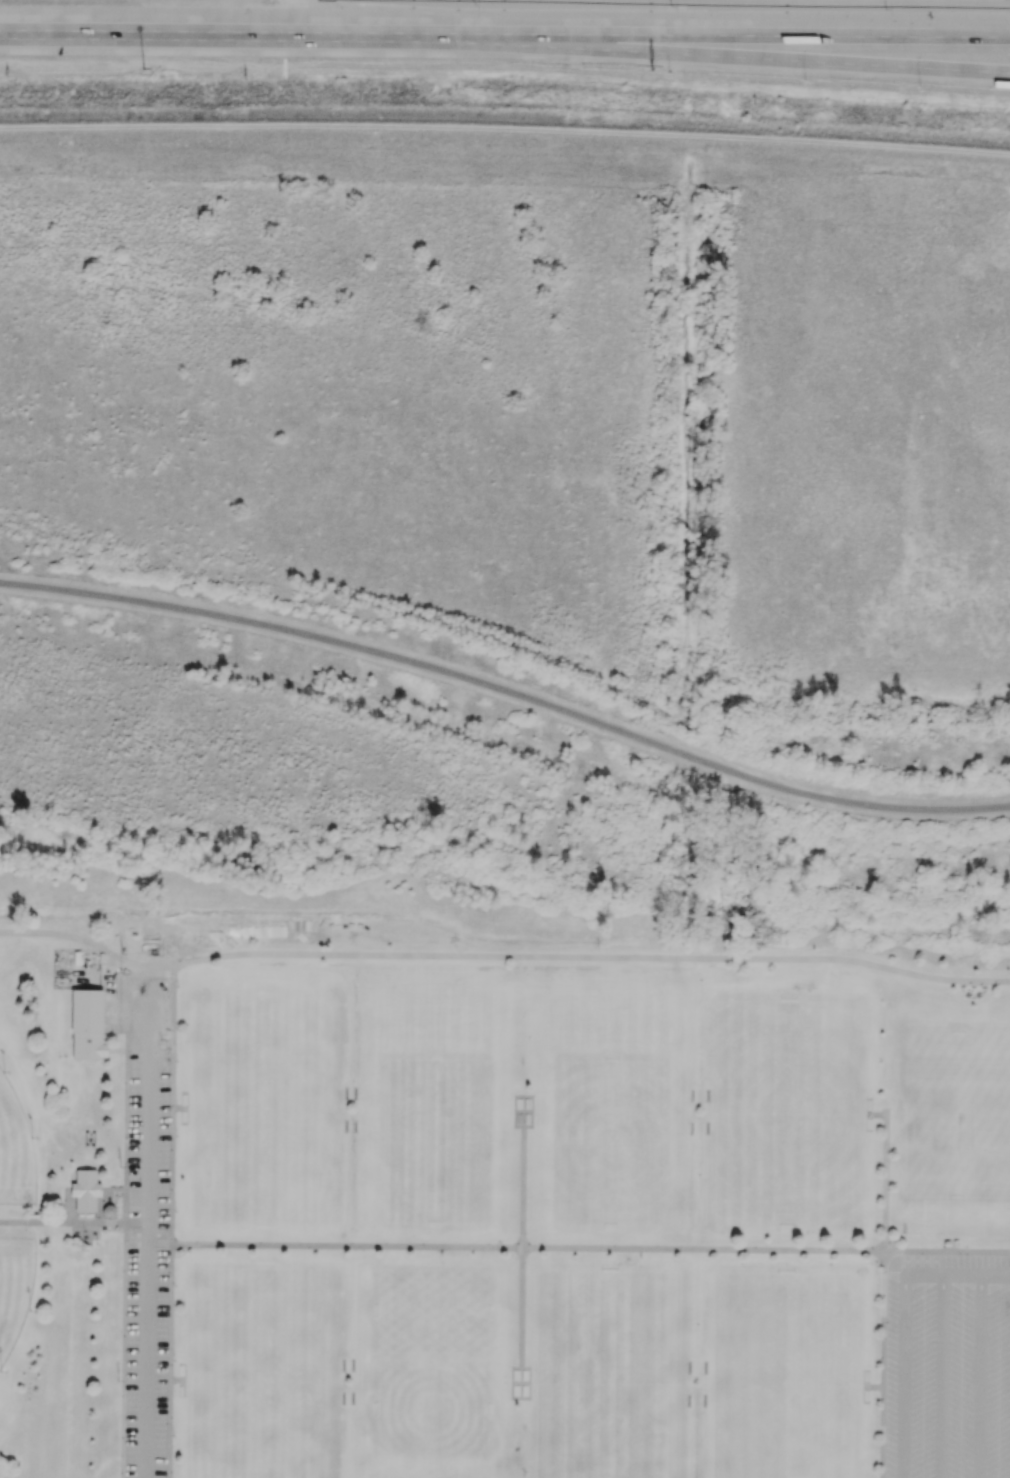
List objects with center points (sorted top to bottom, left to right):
street lamp: (670, 6)
street lamp: (885, 9)
road: (247, 31)
road: (752, 35)
road: (752, 57)
street lamp: (143, 68)
street lamp: (668, 71)
street lamp: (804, 81)
street lamp: (919, 86)
road: (507, 691)
road: (89, 943)
road: (592, 959)
building: (87, 1025)
park: (738, 1032)
park: (818, 1057)
park: (936, 1069)
park: (998, 1070)
road: (869, 1107)
park: (265, 1109)
road: (869, 1121)
park: (434, 1141)
park: (611, 1143)
park: (15, 1152)
park: (936, 1161)
park: (998, 1163)
park: (756, 1170)
road: (885, 1174)
building: (85, 1191)
park: (837, 1196)
road: (171, 1221)
road: (150, 1222)
road: (75, 1223)
road: (516, 1247)
road: (522, 1247)
road: (947, 1252)
parking lot: (147, 1267)
road: (957, 1275)
park: (15, 1291)
park: (558, 1302)
park: (836, 1304)
park: (639, 1327)
park: (755, 1329)
park: (433, 1352)
road: (883, 1365)
parking lot: (948, 1367)
park: (263, 1373)
road: (904, 1376)
road: (942, 1376)
road: (980, 1377)
road: (867, 1387)
road: (866, 1393)
park: (577, 1431)
park: (814, 1432)
park: (658, 1456)
park: (733, 1457)

